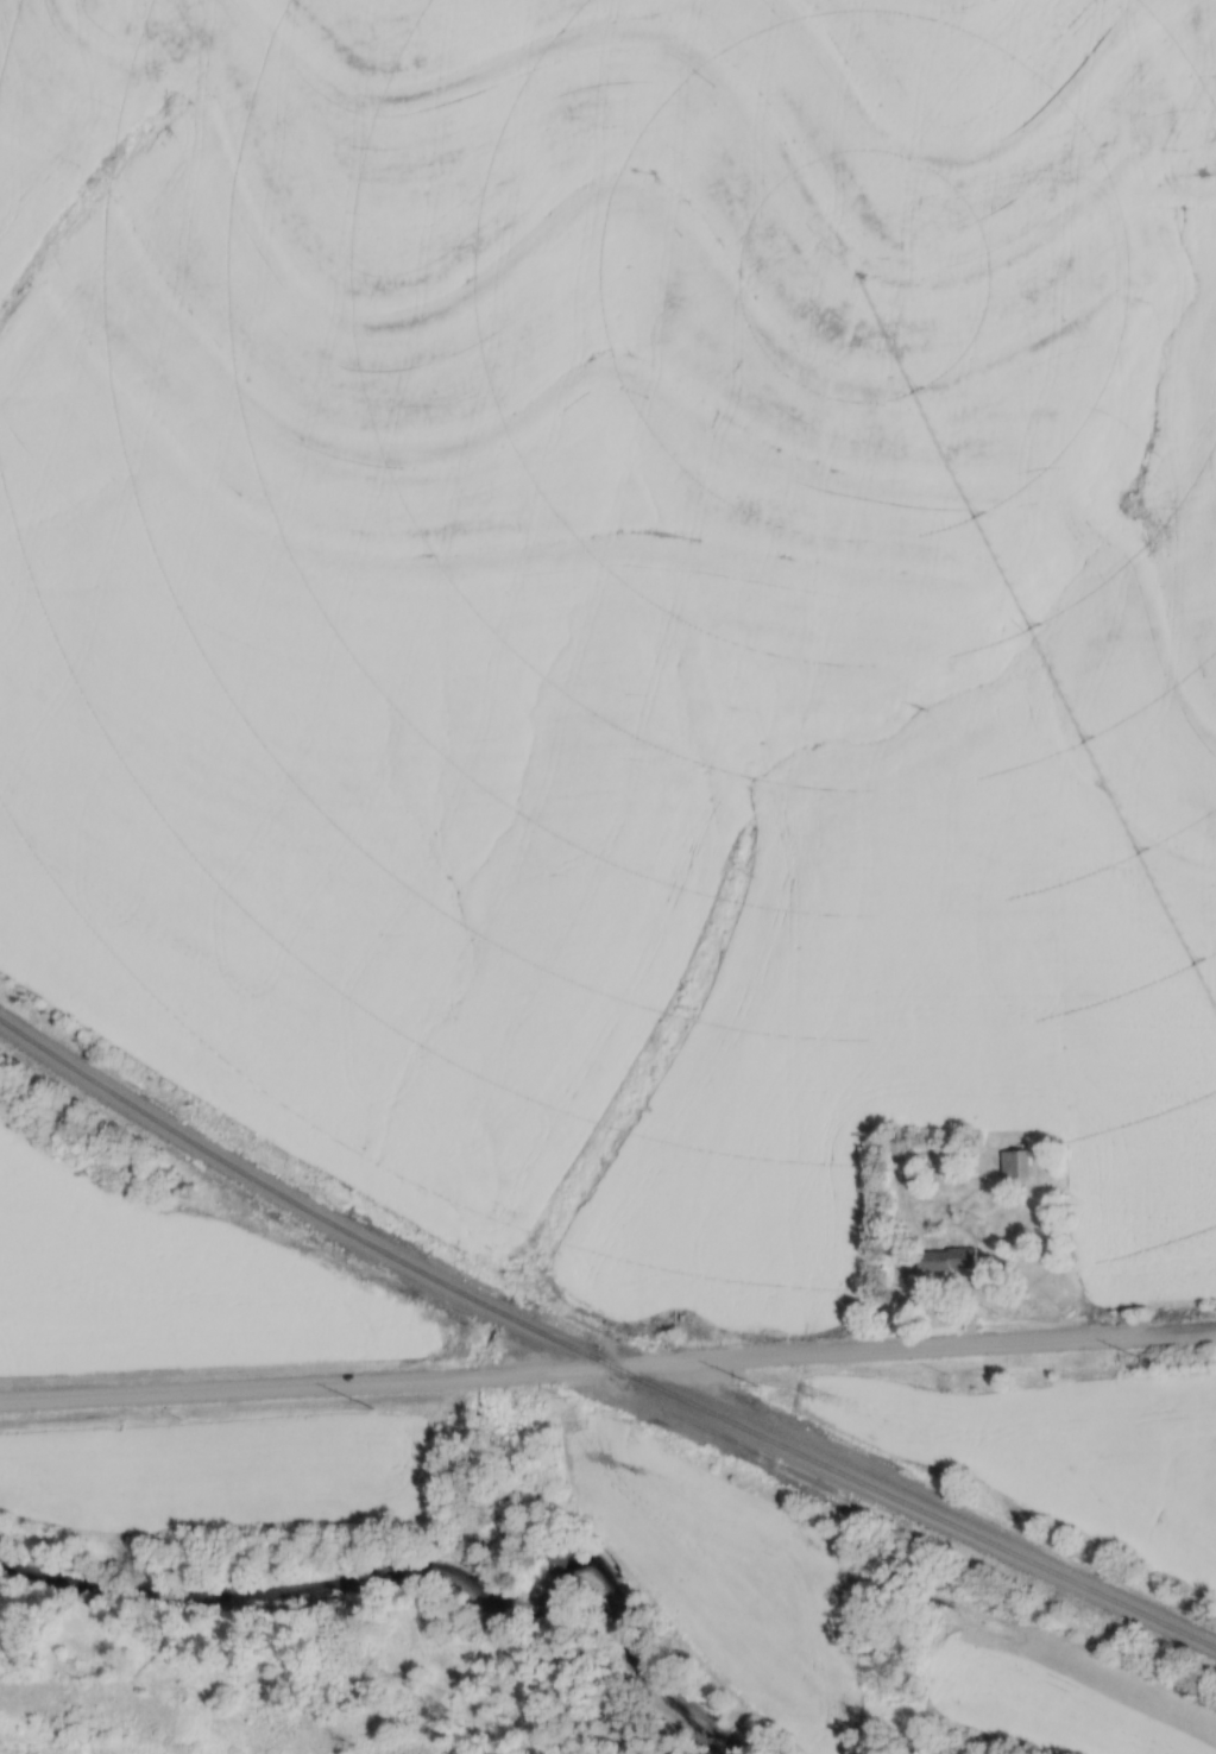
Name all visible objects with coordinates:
building: (1020, 1163)
building: (954, 1258)
road: (978, 1273)
railway: (596, 1355)
road: (607, 1371)

